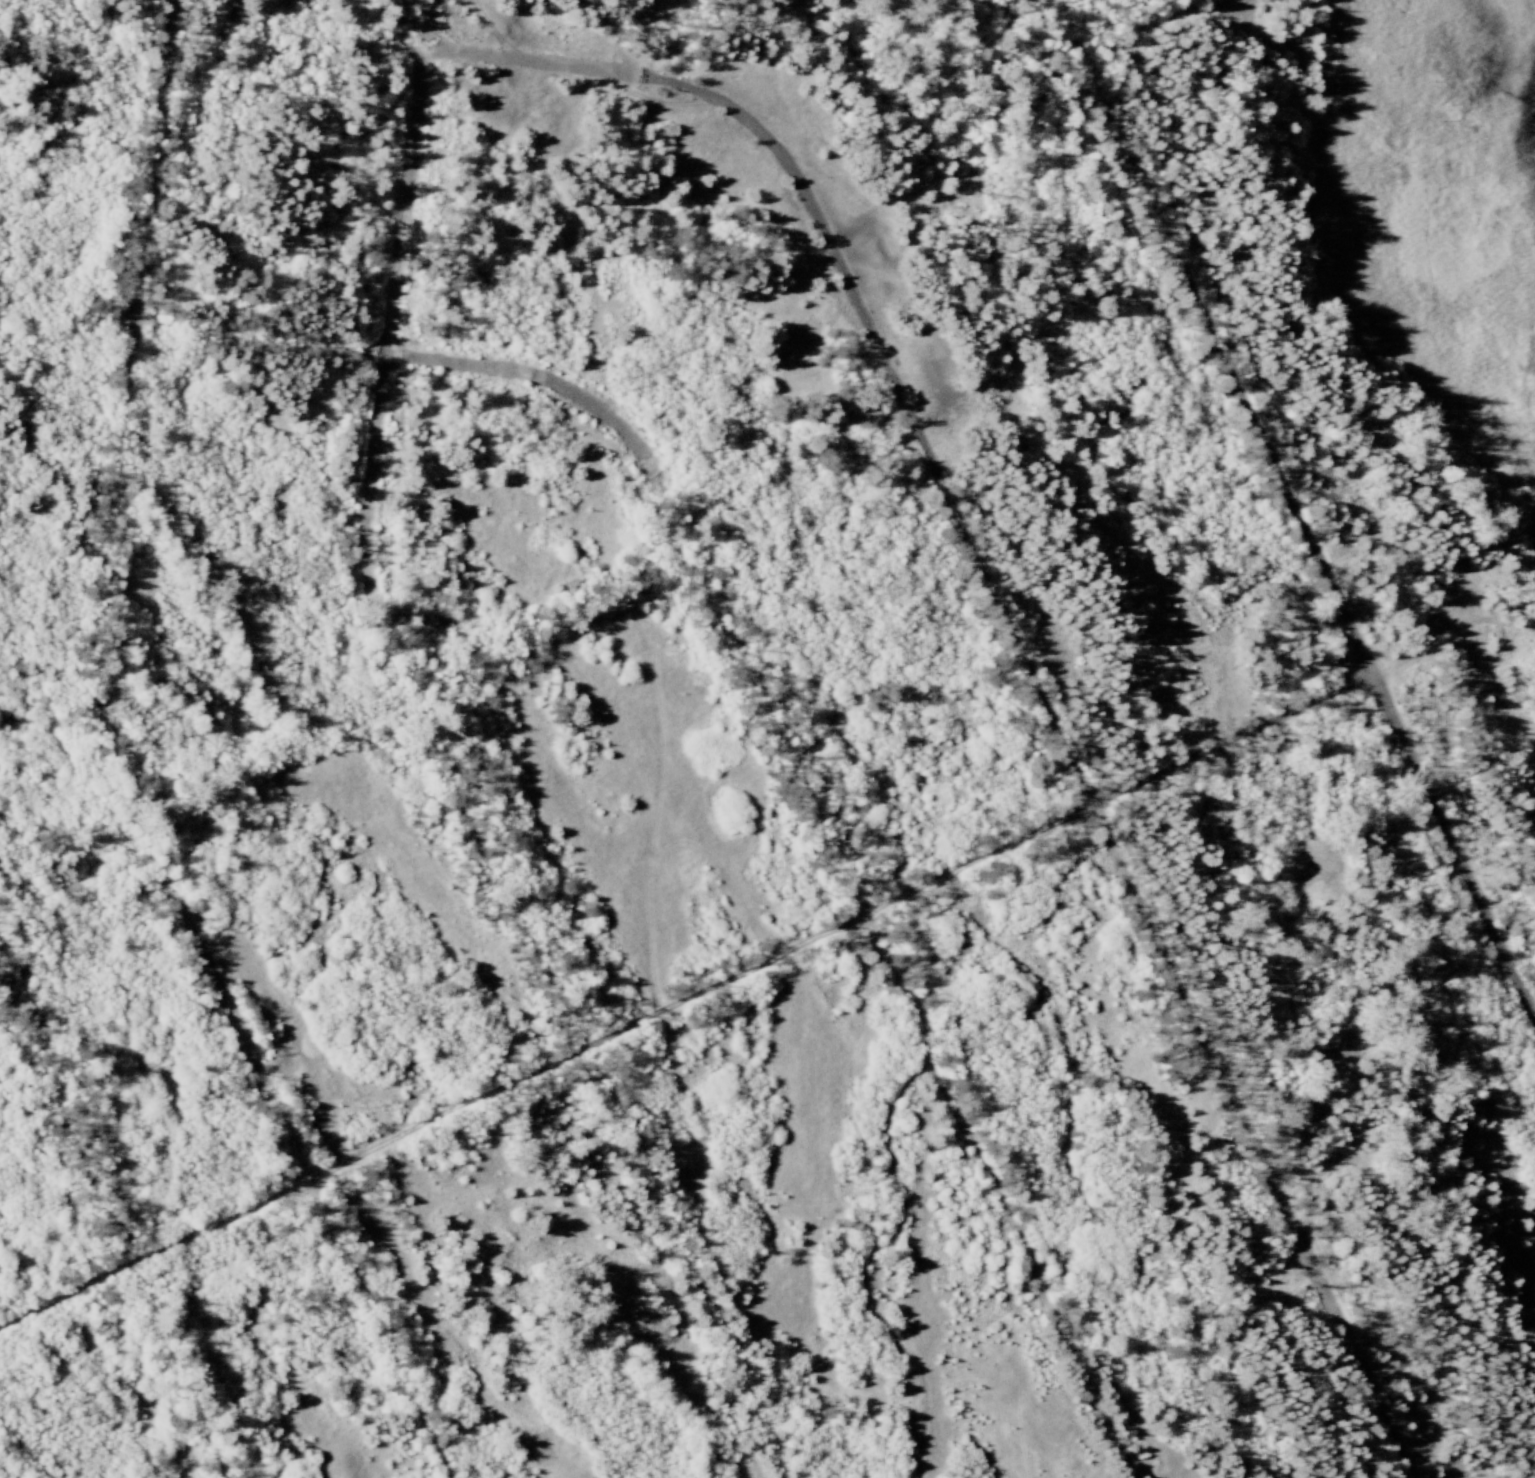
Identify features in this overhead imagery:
road: (1294, 507)
road: (1019, 644)
road: (746, 660)
road: (452, 766)
road: (116, 772)
road: (687, 1006)
road: (114, 1232)
road: (5, 1466)

